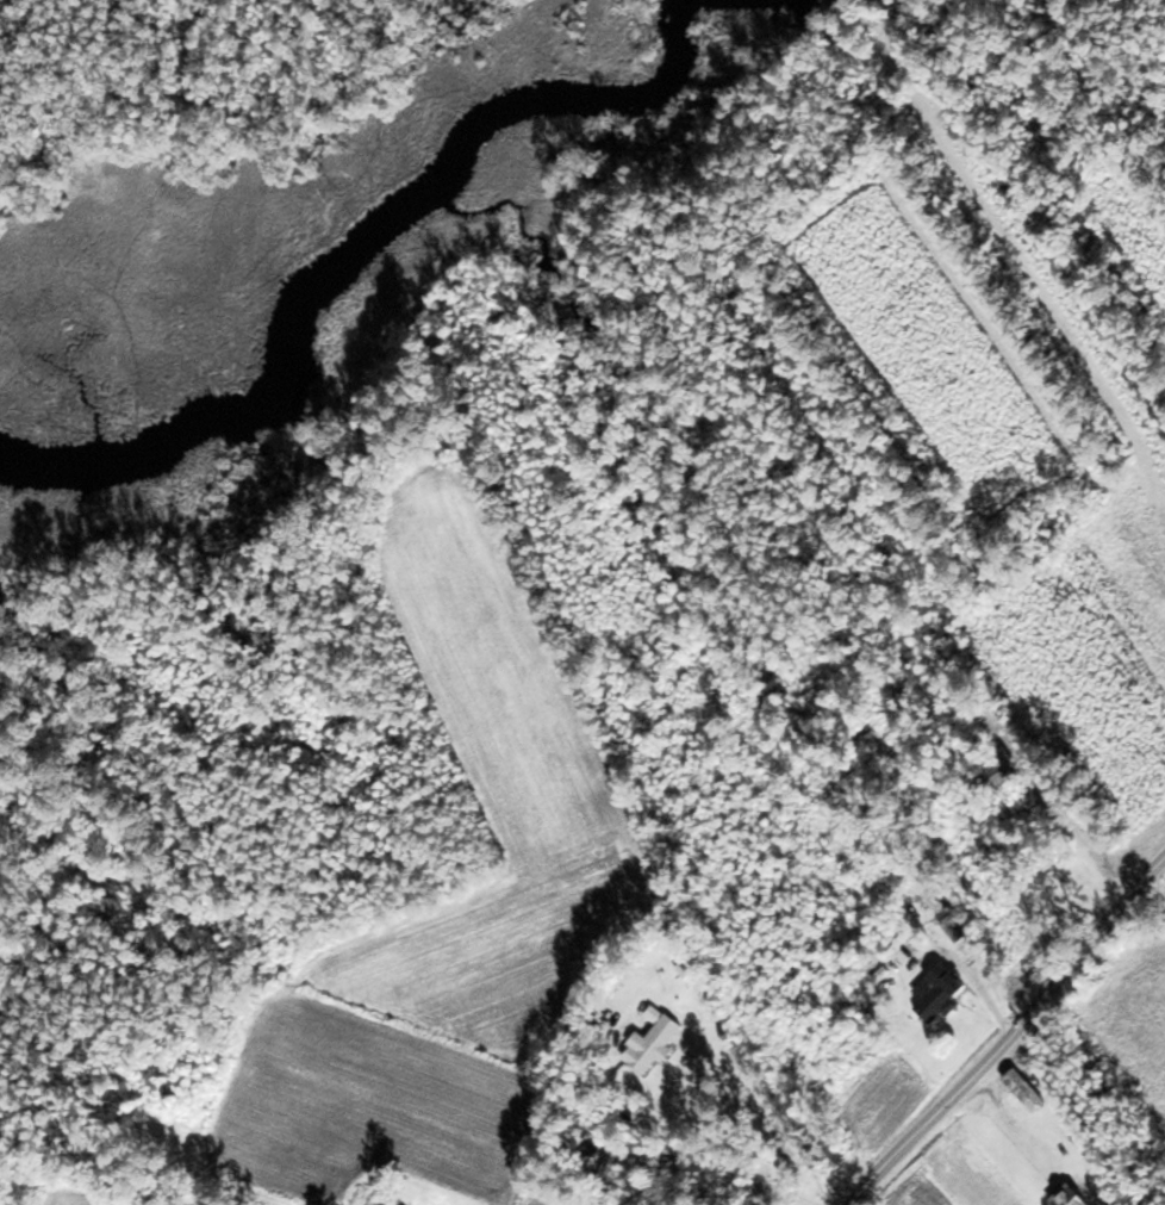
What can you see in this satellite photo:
road: (1160, 884)
building: (942, 992)
road: (1015, 1039)
building: (658, 1041)
building: (1028, 1091)
building: (1073, 1195)

